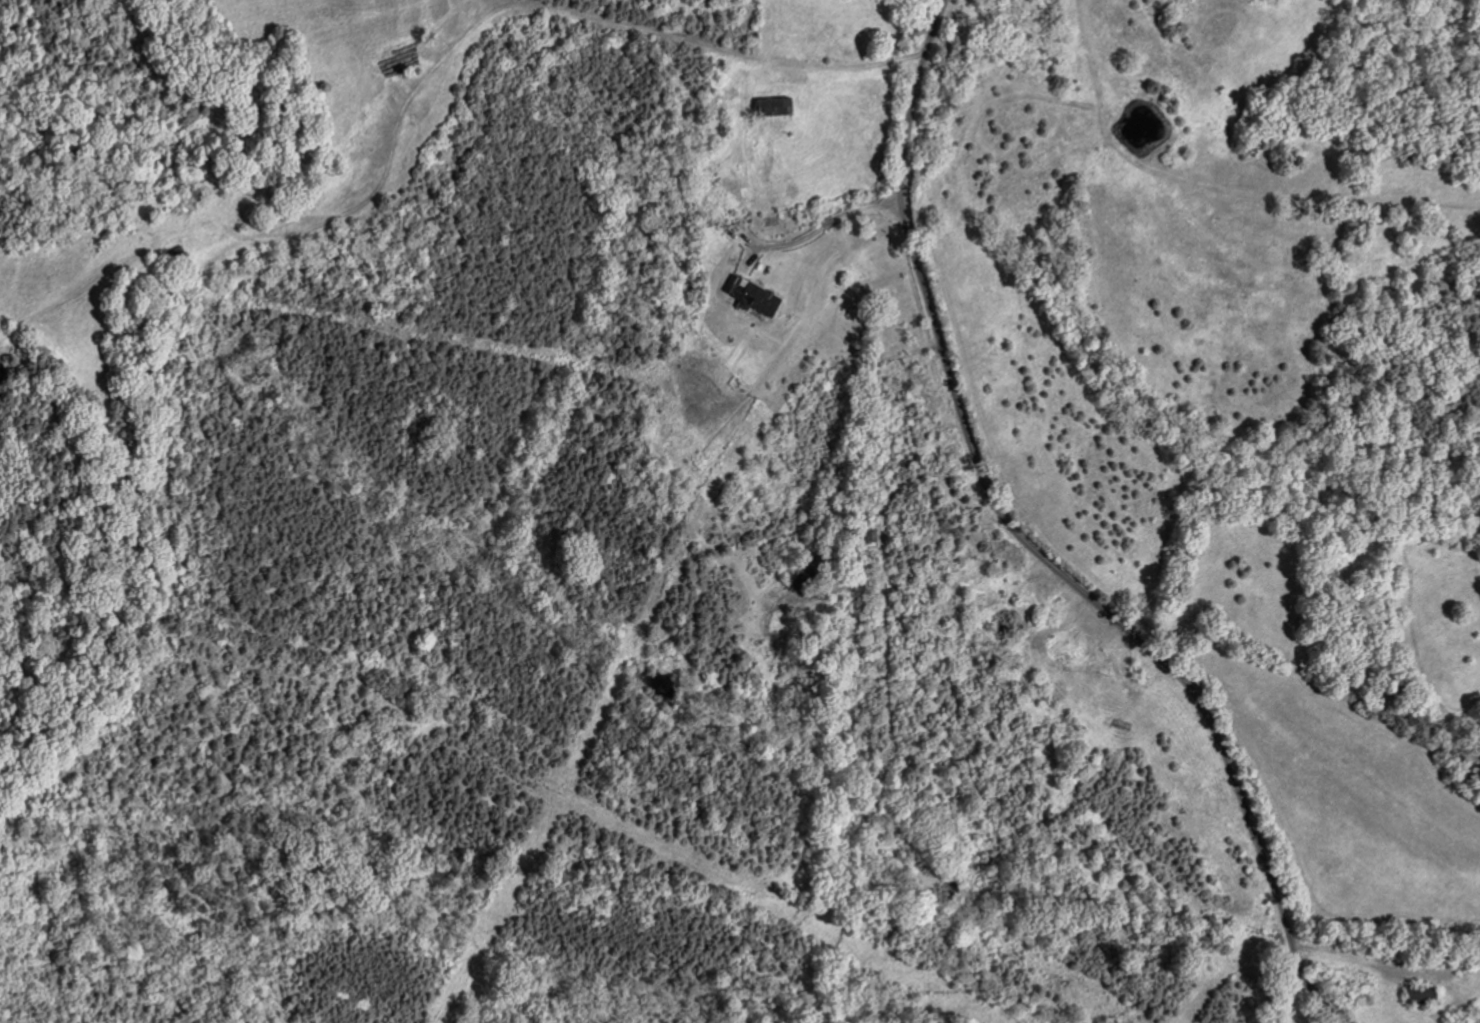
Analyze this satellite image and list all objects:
road: (848, 66)
building: (769, 107)
road: (825, 226)
building: (749, 297)
road: (1028, 546)

